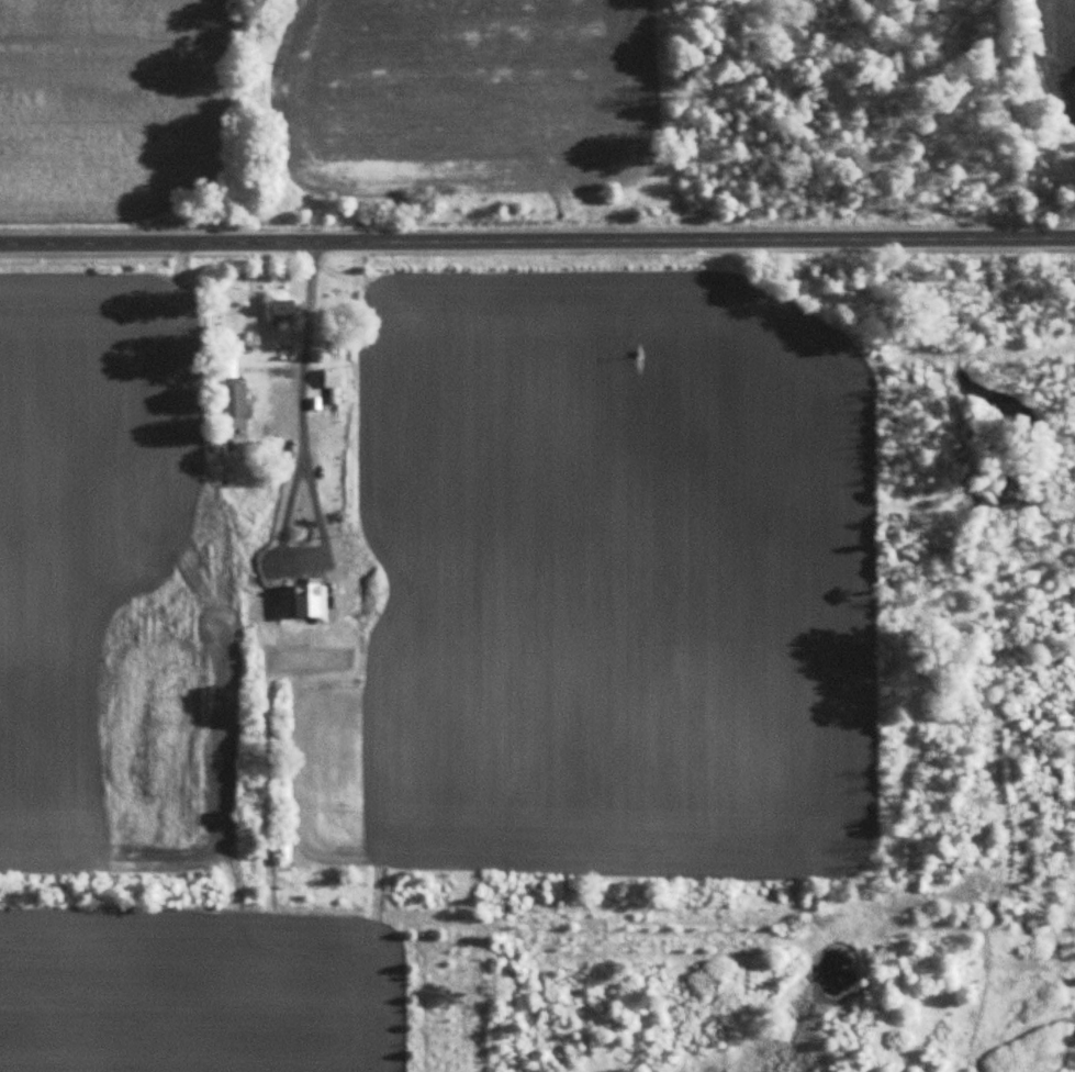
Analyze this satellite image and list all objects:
road: (537, 230)
building: (283, 306)
building: (334, 377)
road: (303, 384)
building: (235, 398)
building: (298, 420)

